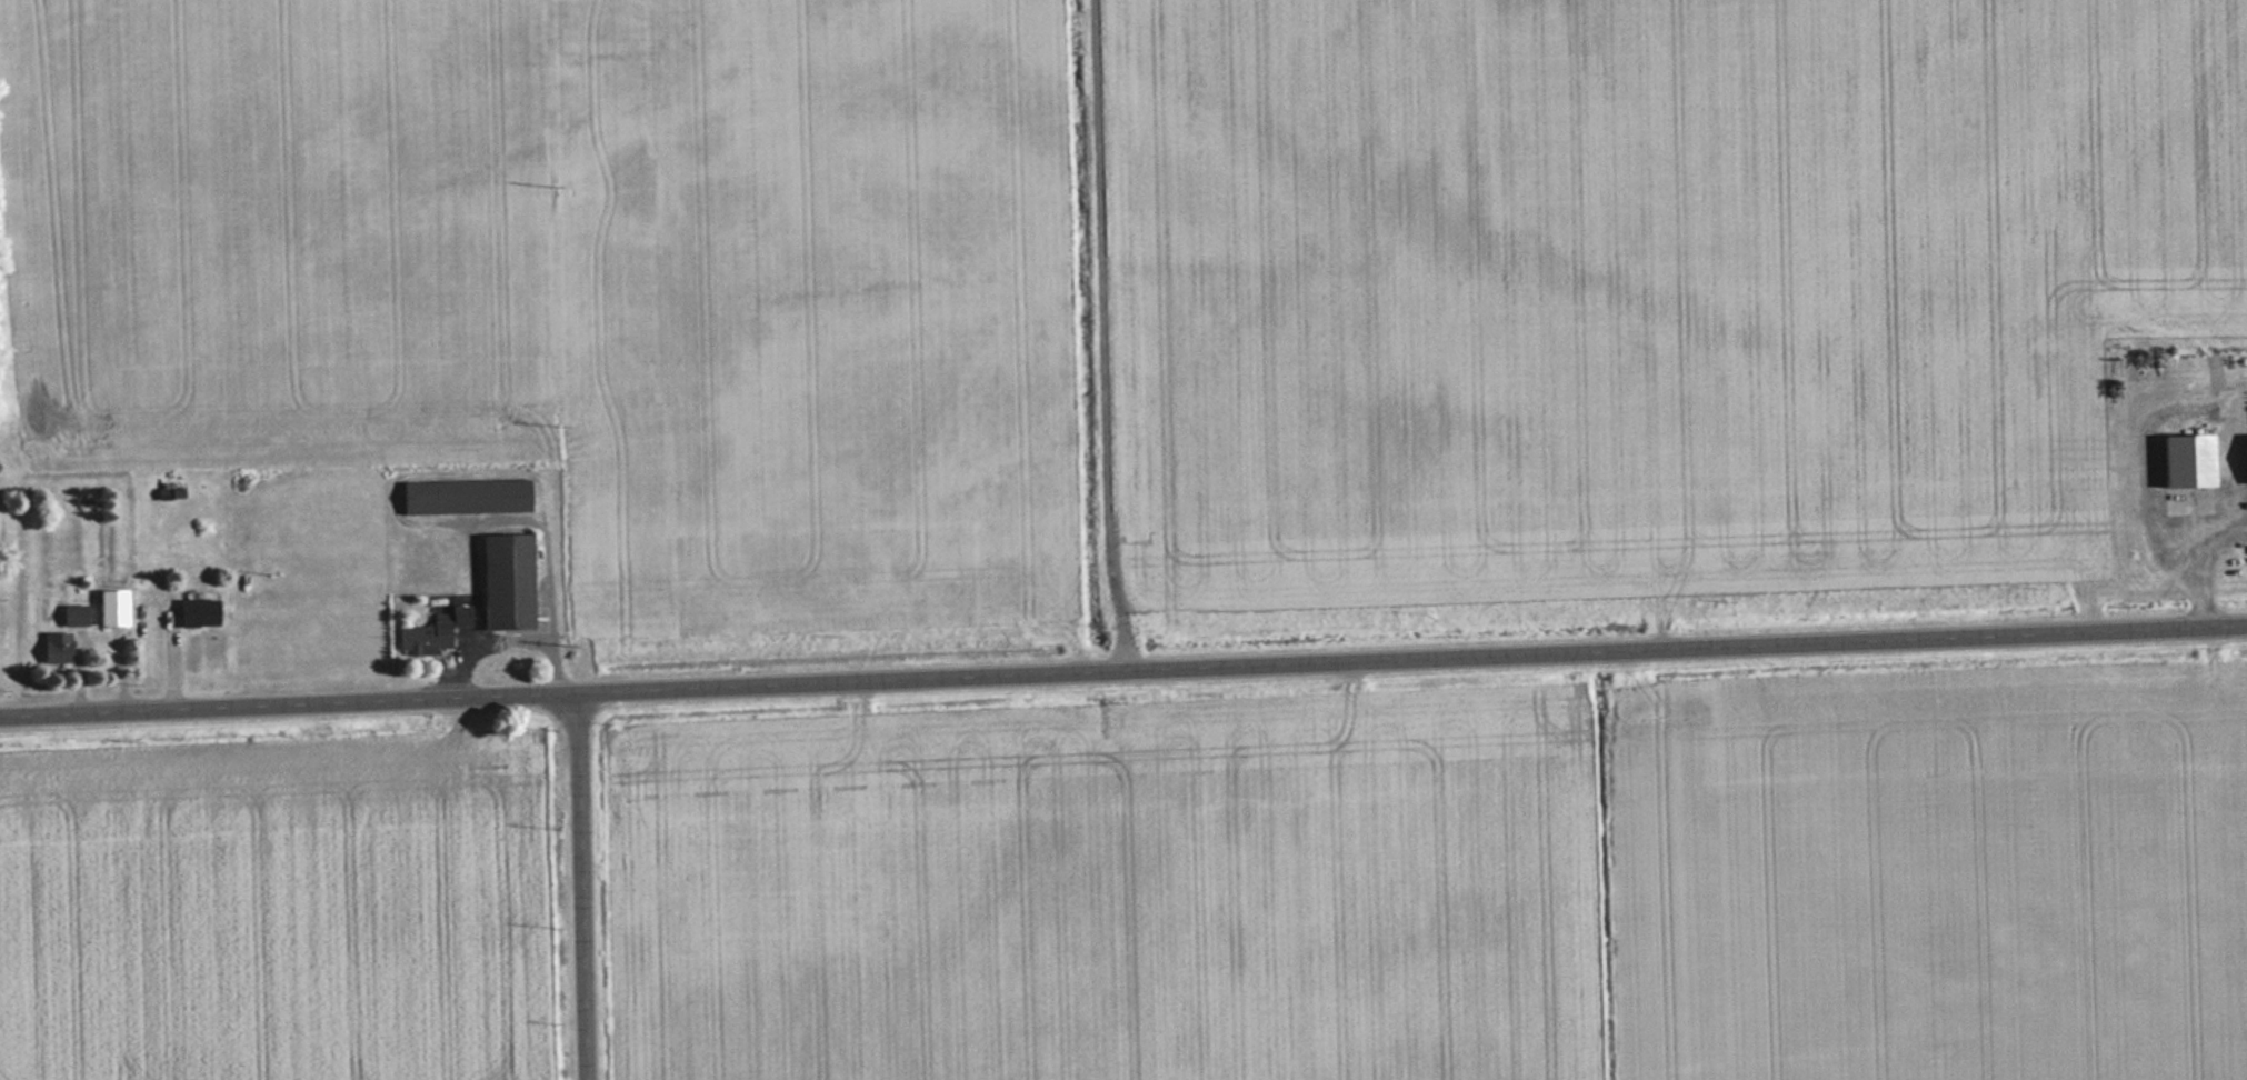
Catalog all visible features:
park: (7, 340)
building: (2187, 461)
building: (467, 497)
building: (508, 581)
building: (113, 608)
building: (198, 613)
building: (76, 614)
building: (433, 631)
building: (58, 649)
road: (1411, 656)
road: (289, 702)
road: (582, 886)

